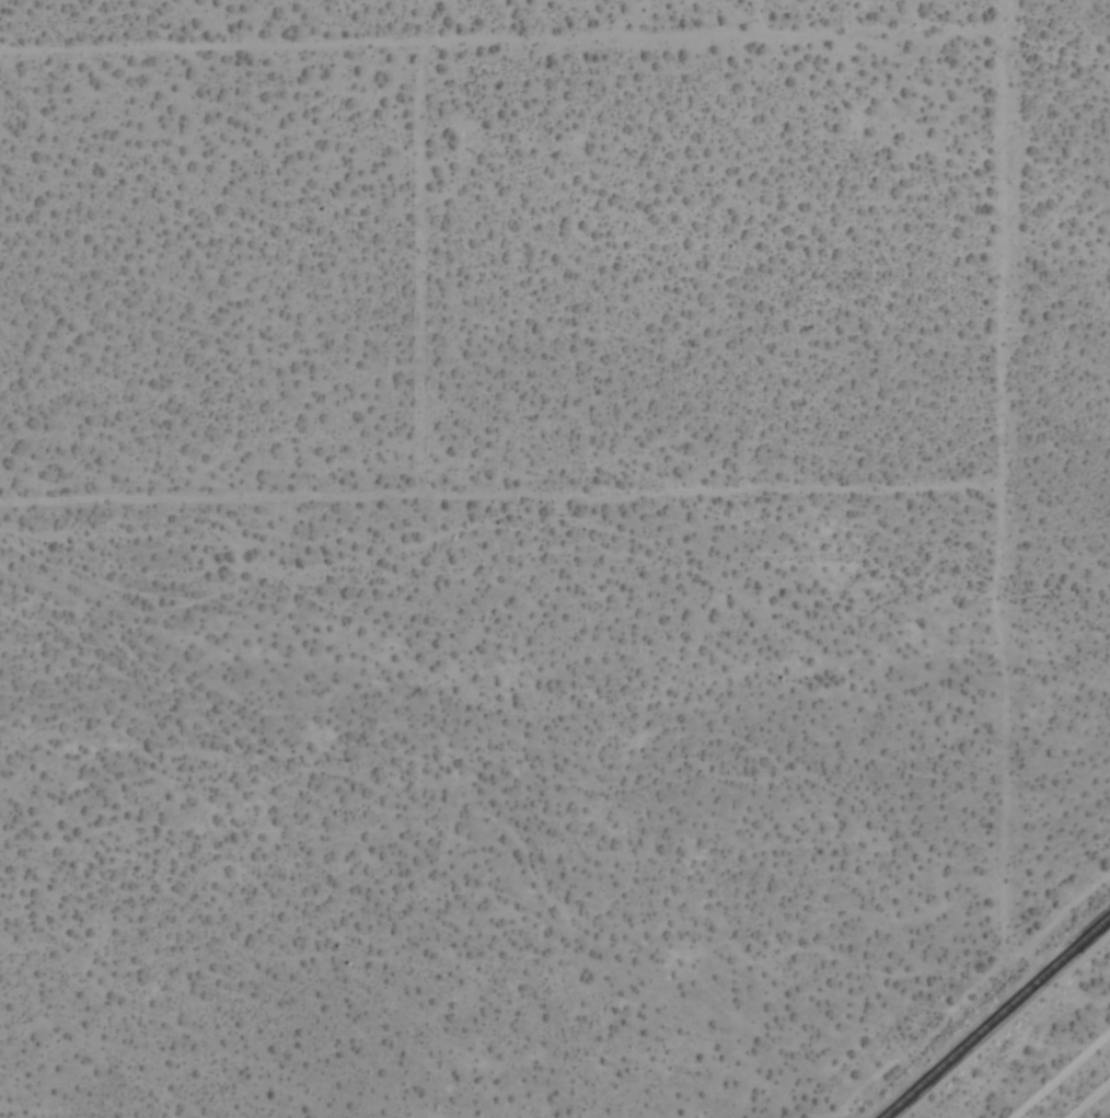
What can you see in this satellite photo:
crop: (555, 558)
railway: (994, 1015)

